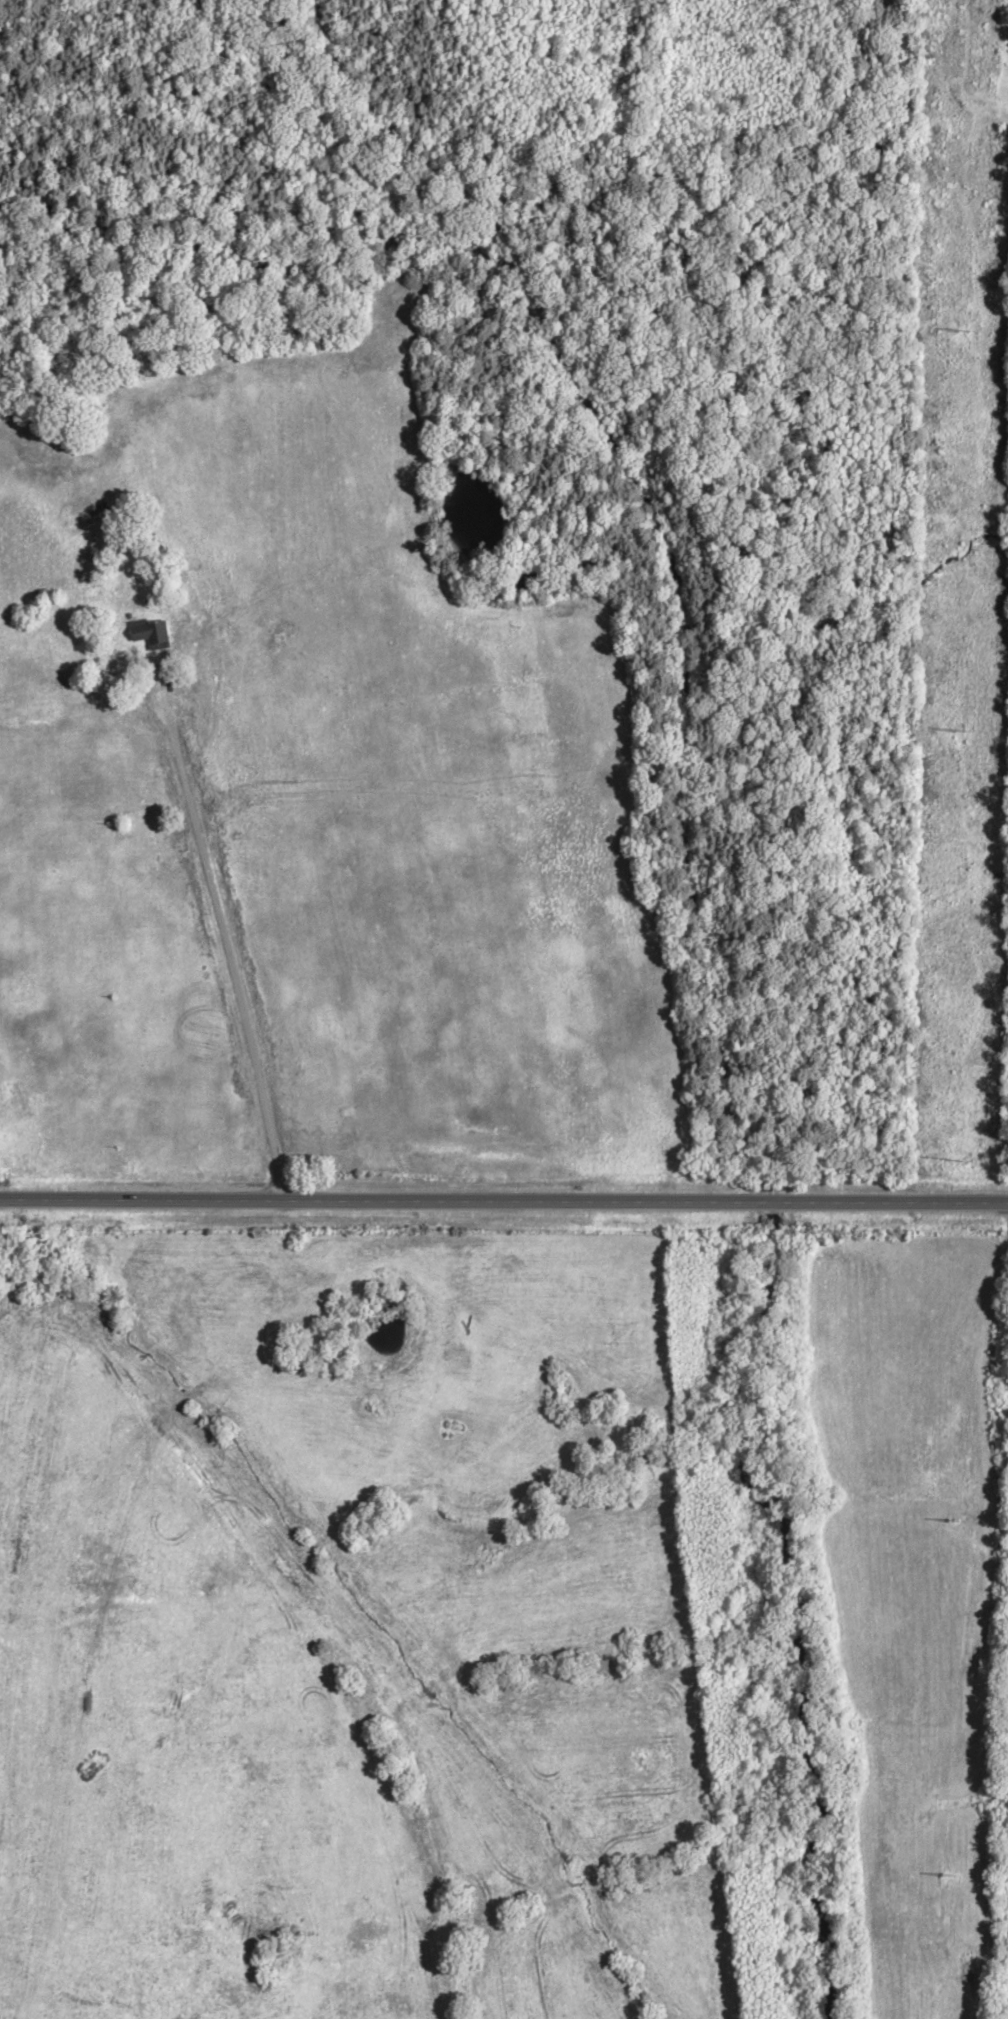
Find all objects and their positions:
road: (1005, 118)
power tower: (958, 332)
building: (152, 636)
power tower: (955, 735)
road: (215, 930)
power tower: (951, 1157)
road: (504, 1198)
power tower: (948, 1521)
power tower: (944, 1869)

